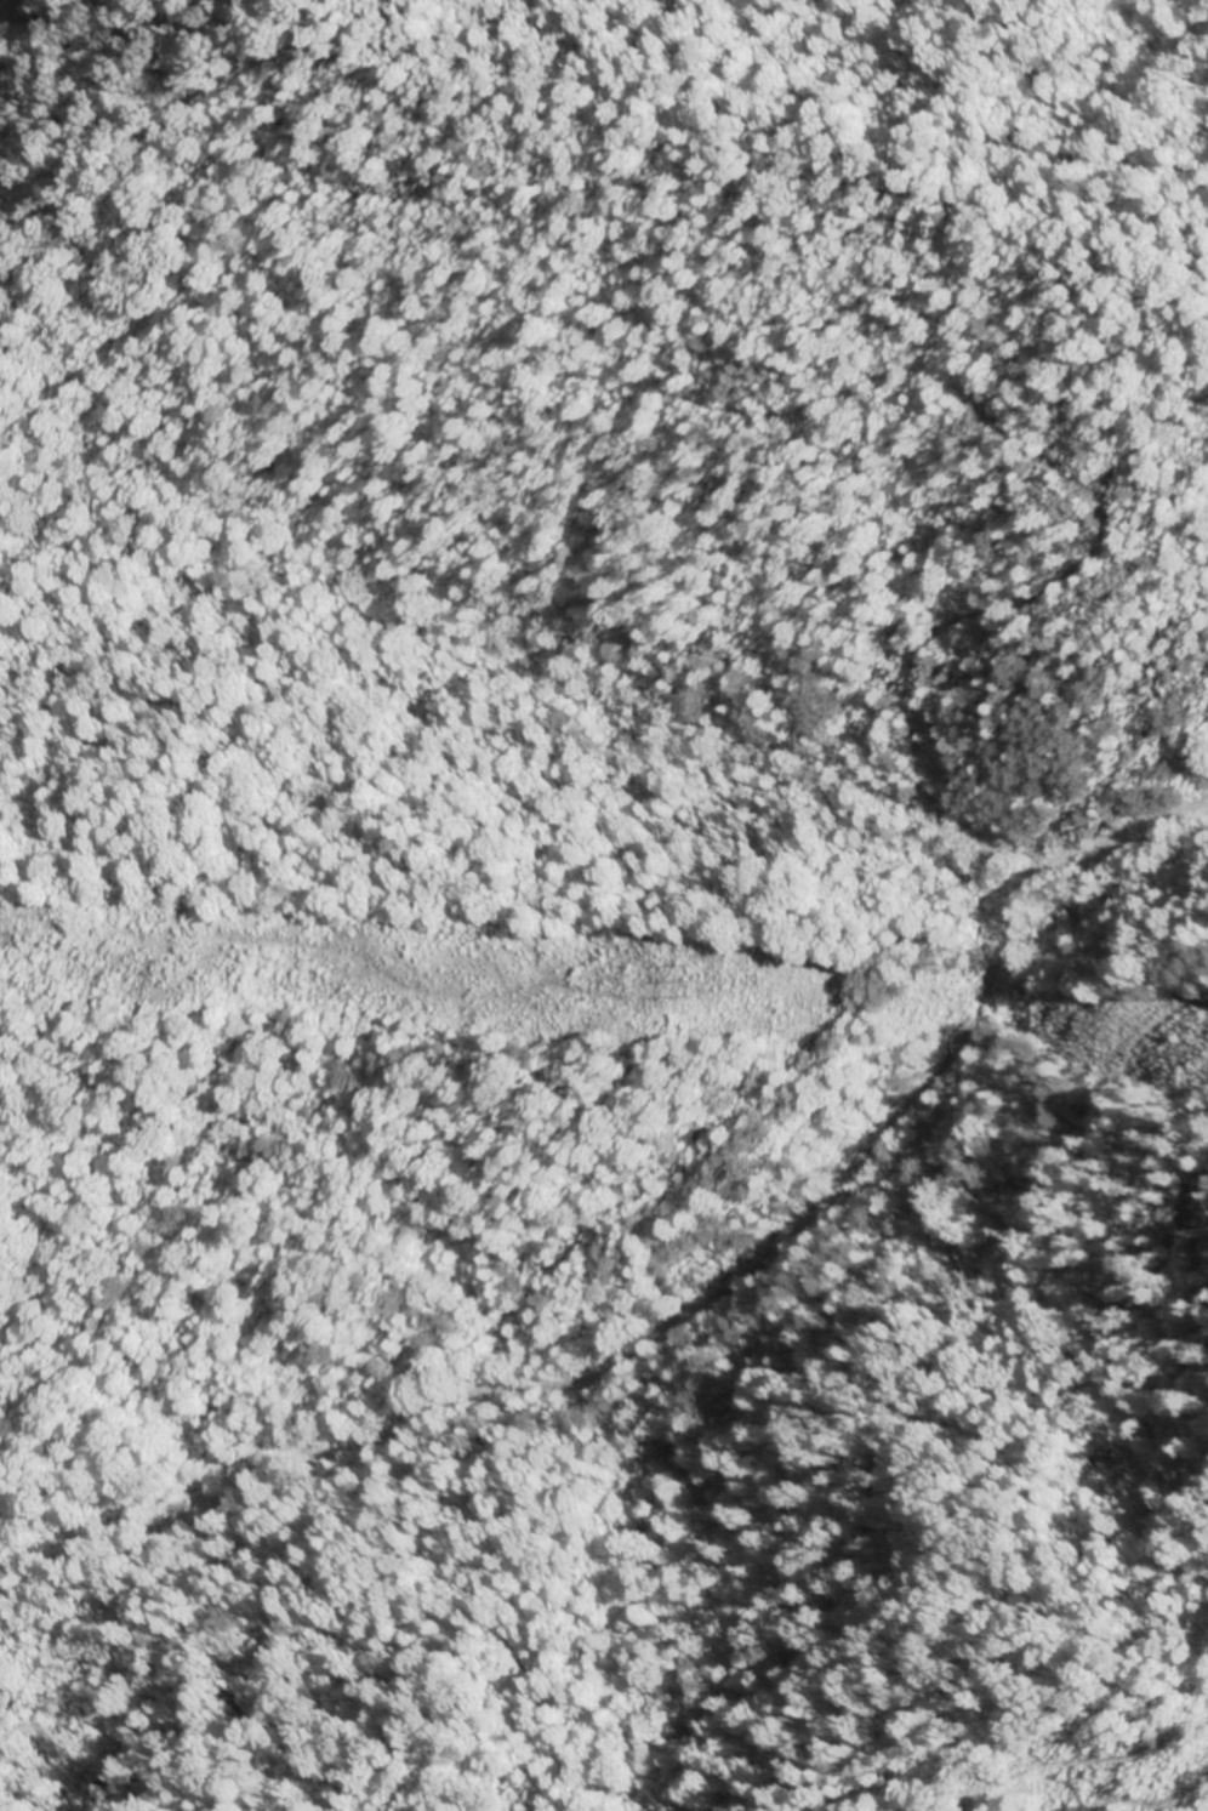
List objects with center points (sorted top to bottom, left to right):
road: (1150, 819)

